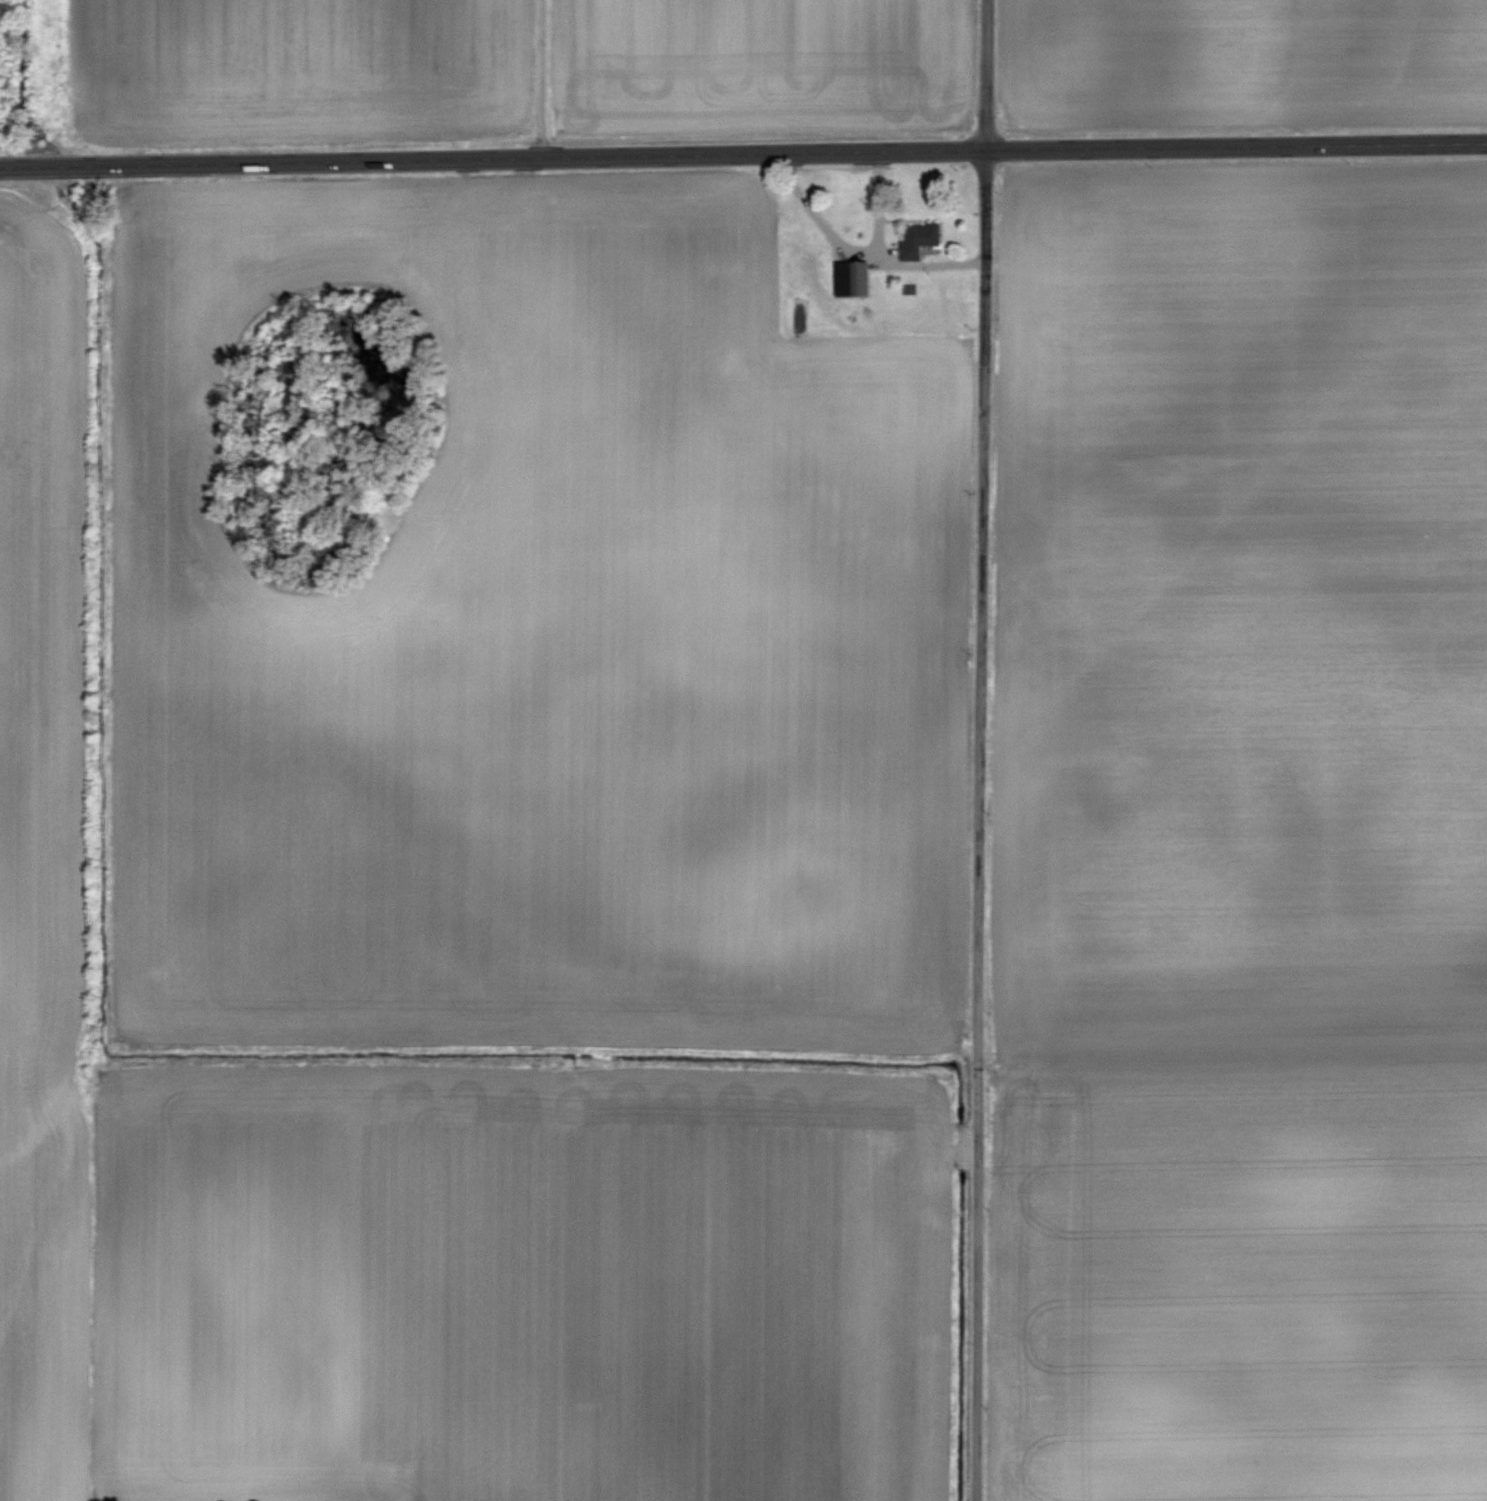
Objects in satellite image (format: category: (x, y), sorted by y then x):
road: (542, 78)
road: (743, 152)
road: (880, 195)
building: (919, 239)
road: (866, 245)
building: (852, 277)
road: (982, 750)

